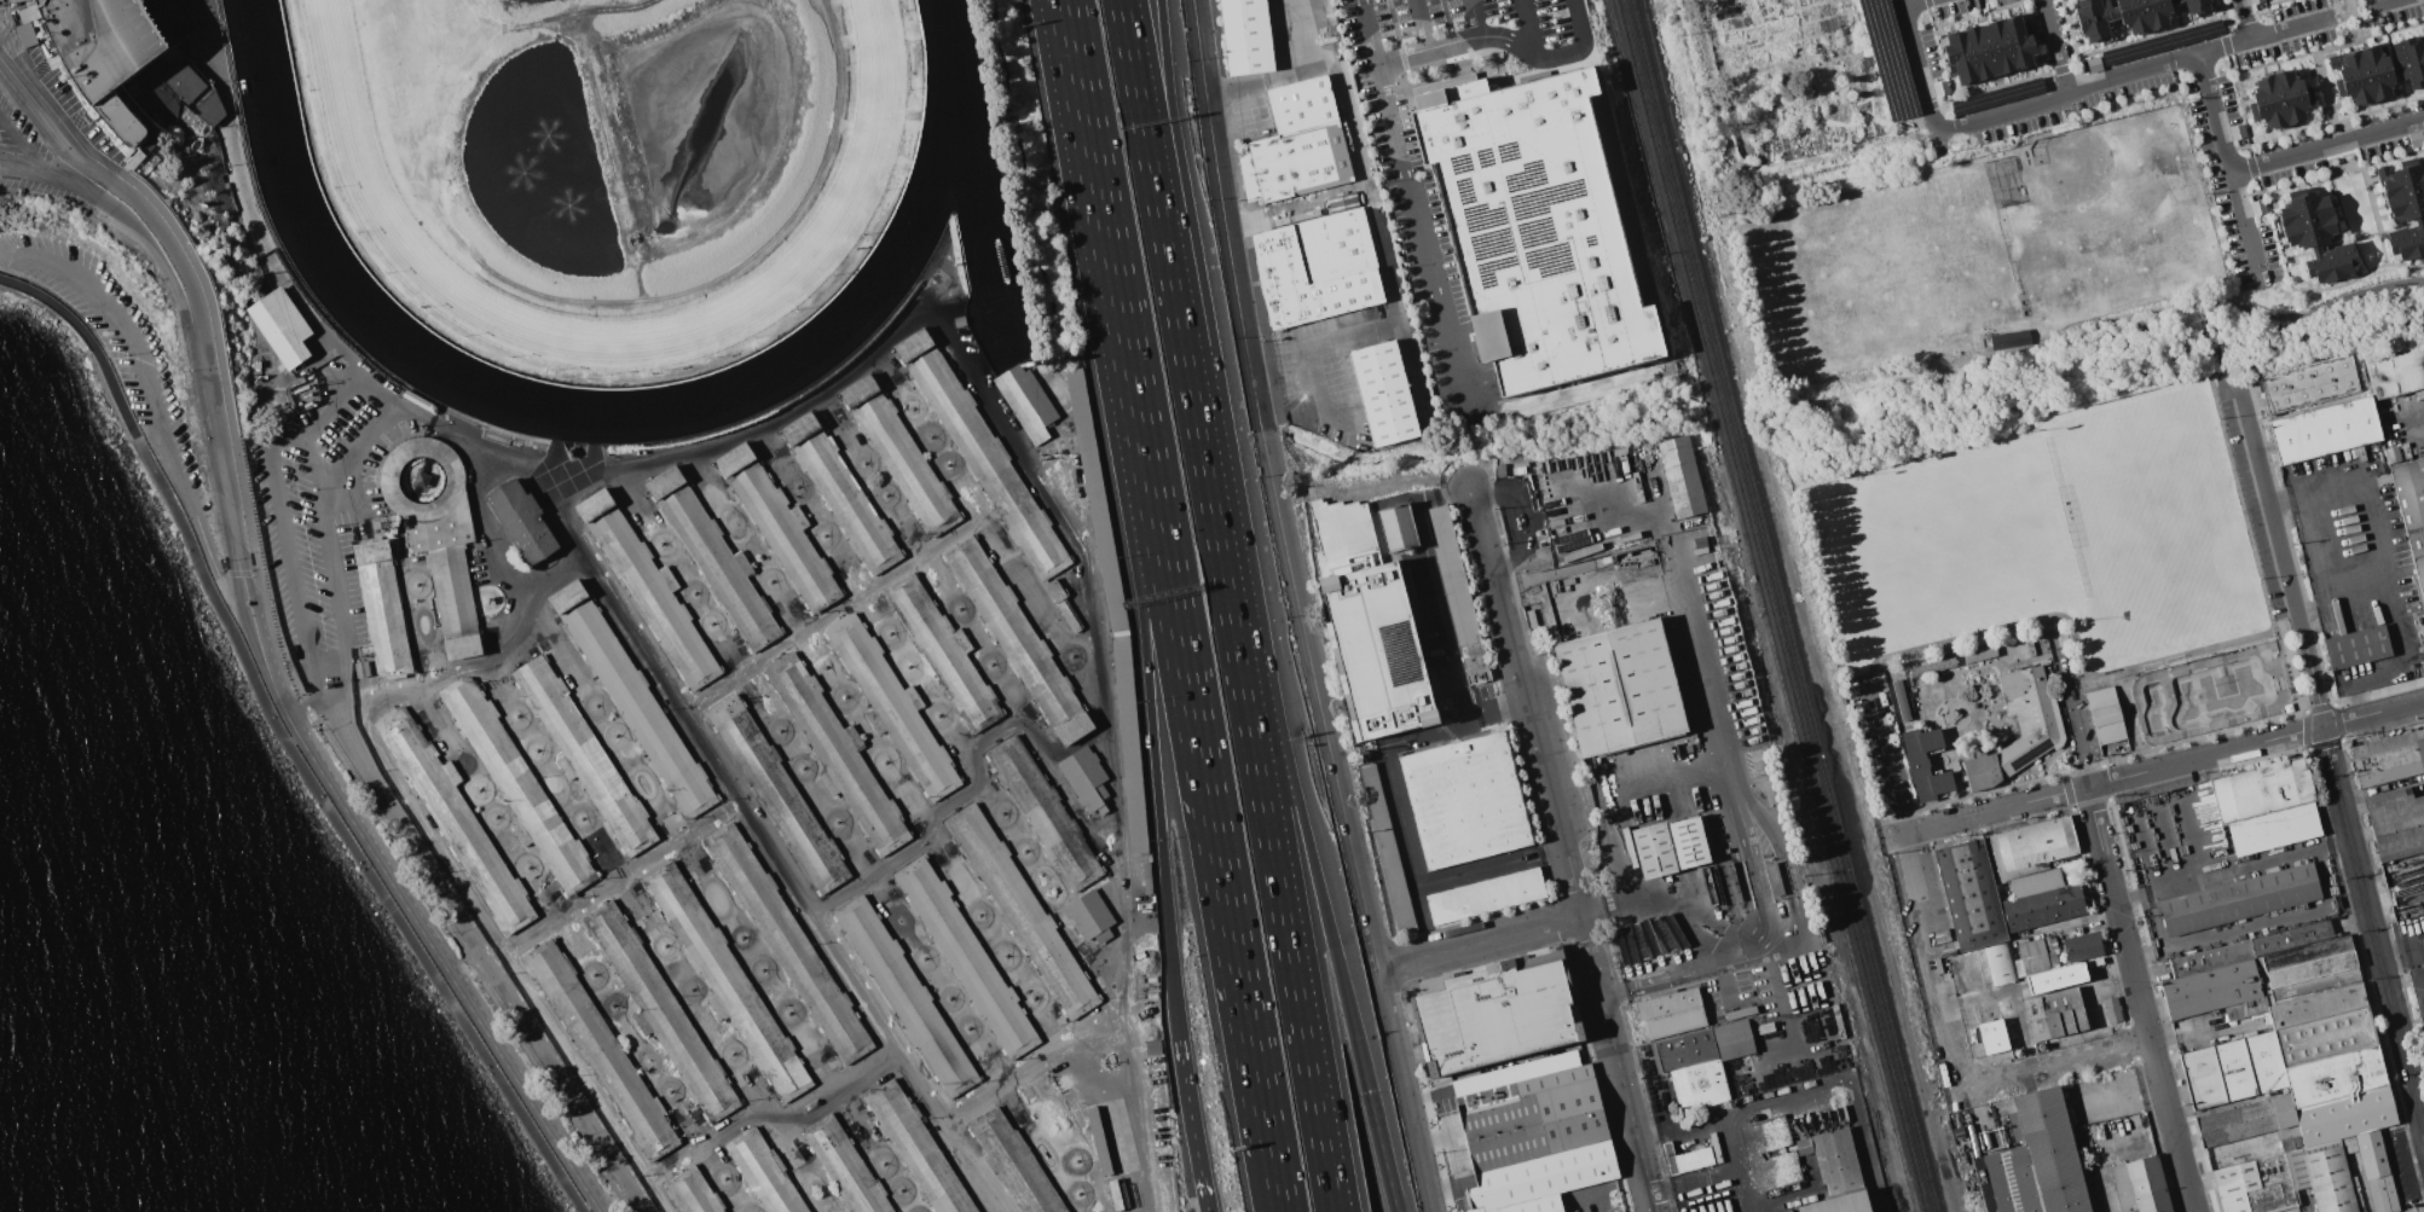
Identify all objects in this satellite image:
building: (10, 1)
building: (2174, 1)
building: (2257, 1)
road: (1916, 2)
road: (2388, 2)
building: (2198, 6)
building: (2157, 12)
road: (2355, 12)
road: (1445, 15)
building: (2133, 16)
road: (1475, 18)
building: (2095, 19)
road: (2249, 19)
road: (1394, 22)
road: (1578, 23)
road: (1422, 24)
road: (1528, 28)
road: (2293, 29)
road: (1370, 31)
building: (25, 35)
building: (1245, 36)
road: (1451, 36)
road: (1457, 40)
building: (2020, 42)
building: (2002, 46)
road: (2058, 46)
road: (2227, 47)
road: (1401, 50)
building: (1983, 51)
road: (1558, 54)
building: (1961, 57)
building: (2409, 62)
building: (131, 64)
building: (2095, 64)
road: (1920, 66)
road: (2125, 73)
building: (2379, 73)
road: (1070, 79)
road: (1078, 79)
building: (2354, 79)
road: (1259, 81)
railway: (1660, 82)
railway: (1650, 83)
railway: (1639, 85)
building: (1942, 88)
building: (2291, 94)
railway: (1632, 102)
building: (2264, 103)
road: (40, 114)
parking lot: (47, 118)
fountain: (548, 134)
building: (2417, 140)
building: (1297, 144)
road: (2328, 145)
road: (21, 146)
road: (1356, 149)
road: (1155, 160)
road: (1174, 160)
park: (2072, 169)
fountain: (525, 173)
building: (2403, 181)
fountain: (571, 204)
building: (2407, 205)
building: (2306, 207)
road: (1225, 215)
building: (1535, 227)
road: (2247, 228)
track: (351, 230)
building: (2312, 231)
road: (1421, 232)
building: (2407, 239)
road: (7, 253)
park: (2111, 253)
building: (2331, 262)
building: (1317, 267)
parking lot: (1430, 269)
park: (1879, 271)
road: (1116, 285)
road: (2337, 286)
road: (2125, 319)
building: (280, 327)
road: (1366, 329)
road: (129, 336)
road: (2218, 336)
building: (2009, 340)
road: (91, 344)
parking lot: (117, 346)
road: (191, 349)
building: (2396, 371)
road: (210, 373)
building: (2308, 383)
road: (2223, 387)
road: (2006, 389)
road: (1197, 396)
road: (1326, 396)
building: (1383, 396)
building: (1025, 400)
road: (383, 406)
road: (2412, 423)
building: (2324, 430)
road: (270, 443)
road: (1009, 448)
building: (982, 454)
building: (901, 456)
park: (2015, 456)
road: (475, 464)
building: (1682, 476)
building: (841, 494)
road: (1419, 499)
building: (2412, 511)
building: (522, 521)
park: (2157, 522)
building: (1398, 527)
building: (777, 529)
building: (439, 540)
road: (995, 543)
park: (1945, 551)
building: (713, 559)
road: (232, 574)
road: (2382, 574)
road: (219, 581)
building: (648, 590)
building: (1457, 596)
building: (1063, 605)
building: (1110, 607)
building: (382, 608)
building: (1367, 625)
road: (1994, 626)
parking lot: (1434, 627)
road: (1444, 634)
building: (1018, 640)
building: (2029, 646)
building: (2356, 646)
building: (942, 651)
building: (1979, 654)
road: (2182, 654)
building: (1932, 666)
road: (266, 674)
building: (1618, 686)
railway: (1803, 689)
railway: (1793, 690)
park: (2214, 695)
building: (630, 697)
building: (1899, 698)
road: (1320, 700)
road: (1525, 701)
building: (892, 708)
building: (2105, 714)
road: (2373, 714)
road: (2076, 721)
building: (2036, 725)
road: (1151, 727)
road: (1888, 752)
building: (1977, 752)
building: (835, 754)
road: (2328, 755)
building: (584, 756)
building: (2389, 756)
building: (1759, 758)
building: (1923, 764)
building: (1084, 777)
road: (1290, 781)
road: (2113, 782)
road: (1204, 783)
building: (519, 785)
road: (1673, 787)
road: (970, 789)
building: (777, 795)
road: (1113, 796)
building: (1464, 799)
building: (2266, 805)
road: (744, 811)
building: (1043, 813)
road: (1399, 813)
building: (453, 819)
road: (2200, 820)
building: (2395, 823)
road: (2099, 833)
road: (1894, 836)
road: (343, 839)
road: (1272, 841)
building: (2027, 847)
building: (1664, 848)
road: (2174, 849)
building: (1387, 851)
road: (1780, 854)
road: (2283, 857)
railway: (1829, 878)
building: (1772, 880)
road: (1694, 886)
building: (1968, 894)
building: (1485, 895)
building: (2238, 899)
building: (2040, 900)
road: (1422, 904)
building: (1022, 911)
building: (1089, 916)
building: (2290, 936)
building: (788, 944)
road: (1480, 944)
building: (2082, 945)
building: (2034, 956)
building: (966, 958)
road: (1931, 958)
building: (2210, 958)
building: (1998, 964)
road: (440, 967)
building: (1963, 973)
road: (1778, 974)
building: (2055, 978)
building: (727, 981)
building: (2418, 991)
building: (2214, 992)
building: (906, 997)
building: (2315, 1001)
building: (661, 1010)
building: (2111, 1010)
building: (1496, 1011)
building: (2053, 1014)
building: (1764, 1027)
building: (1997, 1033)
building: (1690, 1045)
road: (2151, 1045)
building: (600, 1049)
road: (2054, 1060)
road: (1035, 1063)
road: (1616, 1063)
building: (2231, 1069)
road: (1093, 1077)
traffic signals: (1369, 1091)
road: (1407, 1091)
road: (1429, 1095)
road: (1805, 1095)
building: (2338, 1095)
road: (1188, 1108)
road: (812, 1112)
building: (2250, 1124)
road: (2422, 1124)
building: (1532, 1133)
road: (1439, 1138)
building: (1099, 1141)
building: (916, 1148)
road: (1382, 1152)
building: (1689, 1160)
building: (2040, 1160)
building: (1012, 1162)
building: (845, 1166)
parking lot: (2401, 1167)
building: (2372, 1168)
building: (763, 1173)
road: (1719, 1173)
building: (1836, 1175)
building: (2320, 1176)
road: (1274, 1182)
building: (2269, 1184)
building: (2140, 1185)
building: (2234, 1185)
road: (1450, 1187)
road: (1743, 1190)
building: (690, 1193)
road: (1203, 1194)

